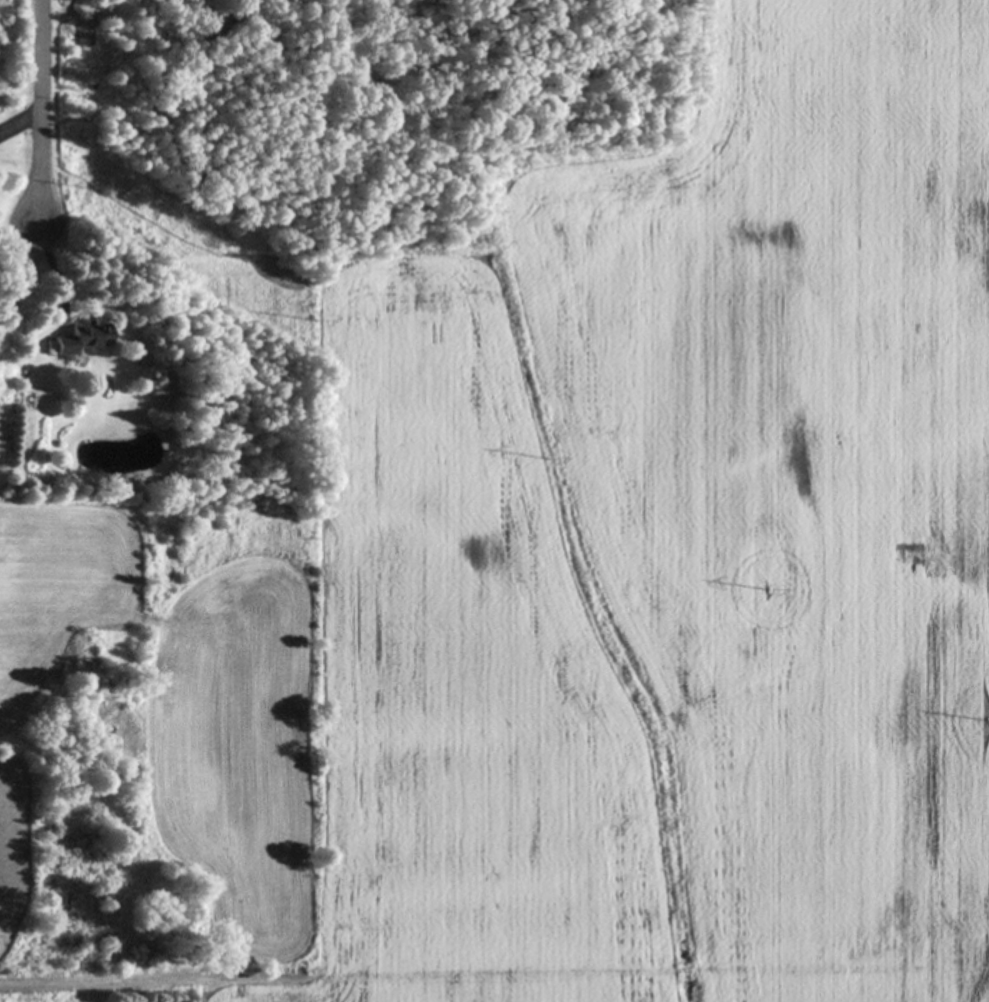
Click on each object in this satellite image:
road: (44, 107)
building: (83, 339)

